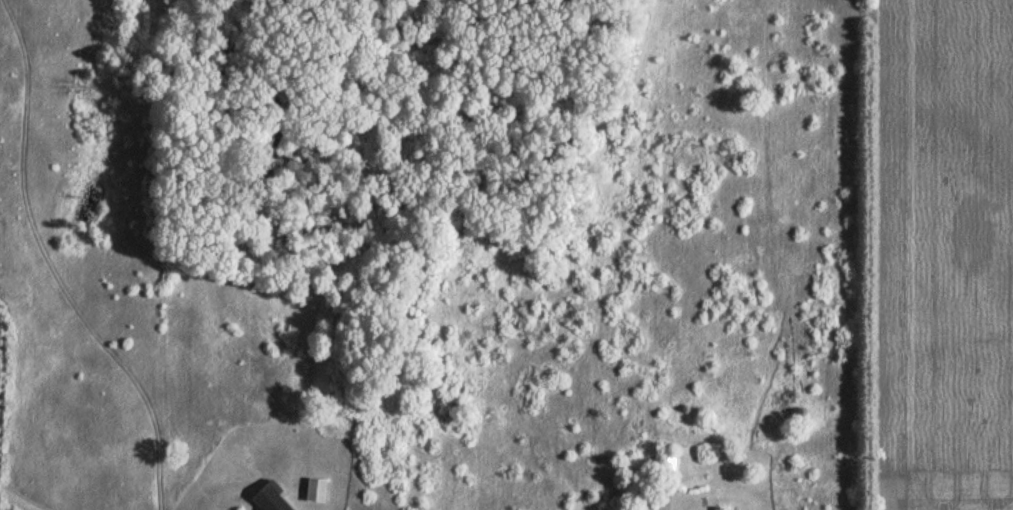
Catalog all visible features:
road: (47, 266)
building: (665, 470)
building: (315, 491)
building: (269, 498)
road: (17, 499)
building: (720, 509)

